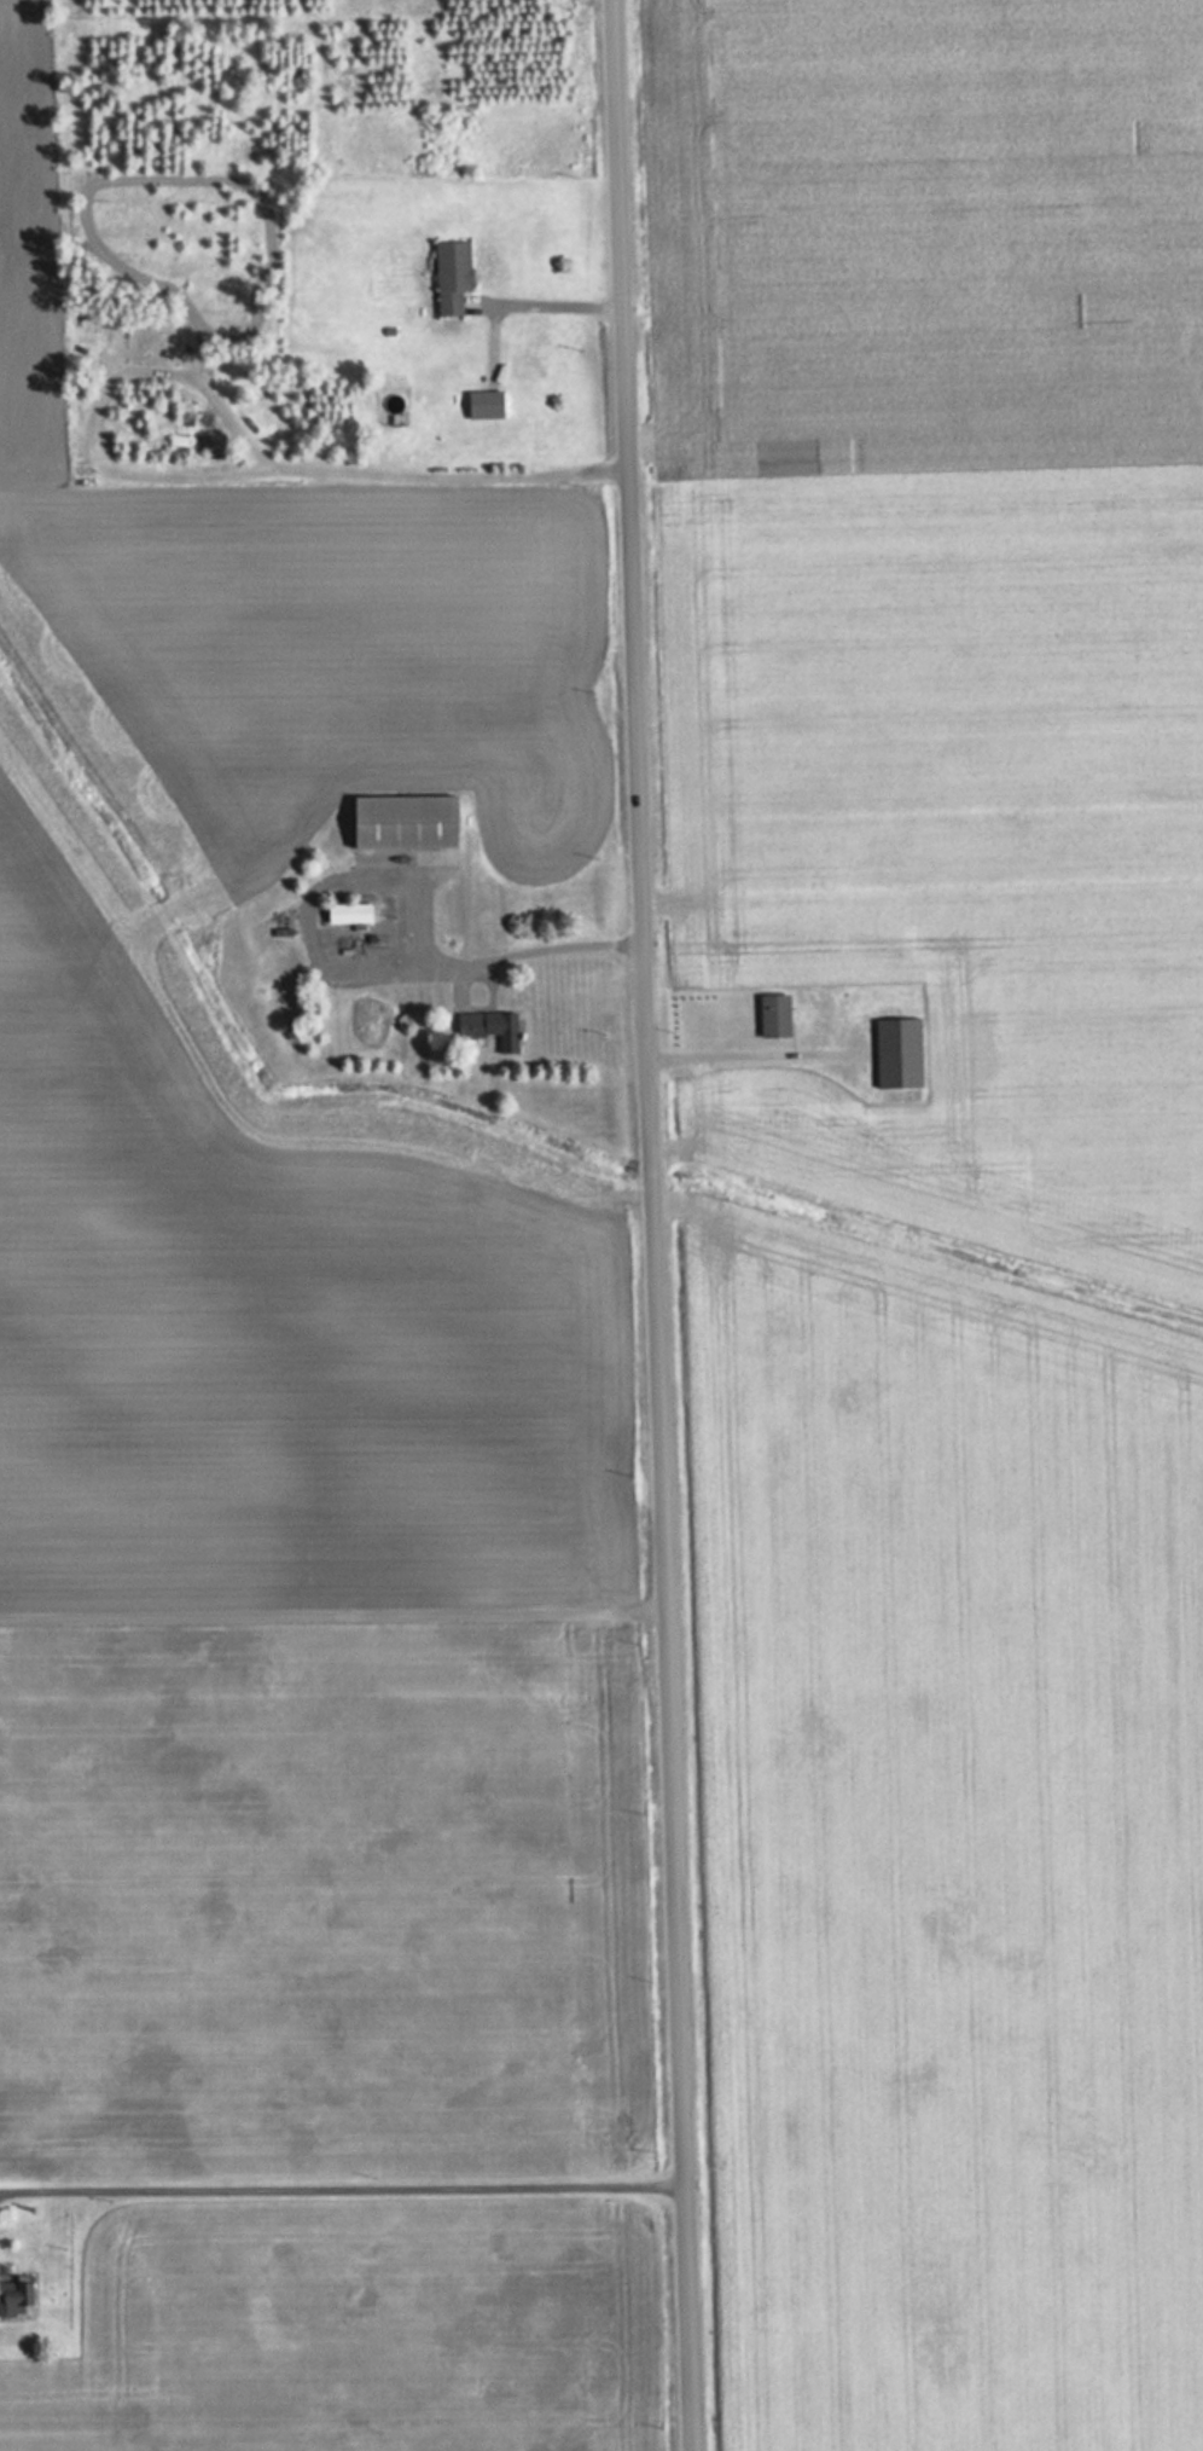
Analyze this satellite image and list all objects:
building: (453, 277)
building: (486, 406)
building: (406, 822)
building: (349, 914)
building: (775, 1016)
building: (495, 1029)
building: (897, 1049)
road: (655, 1224)
road: (344, 2183)
building: (16, 2298)

